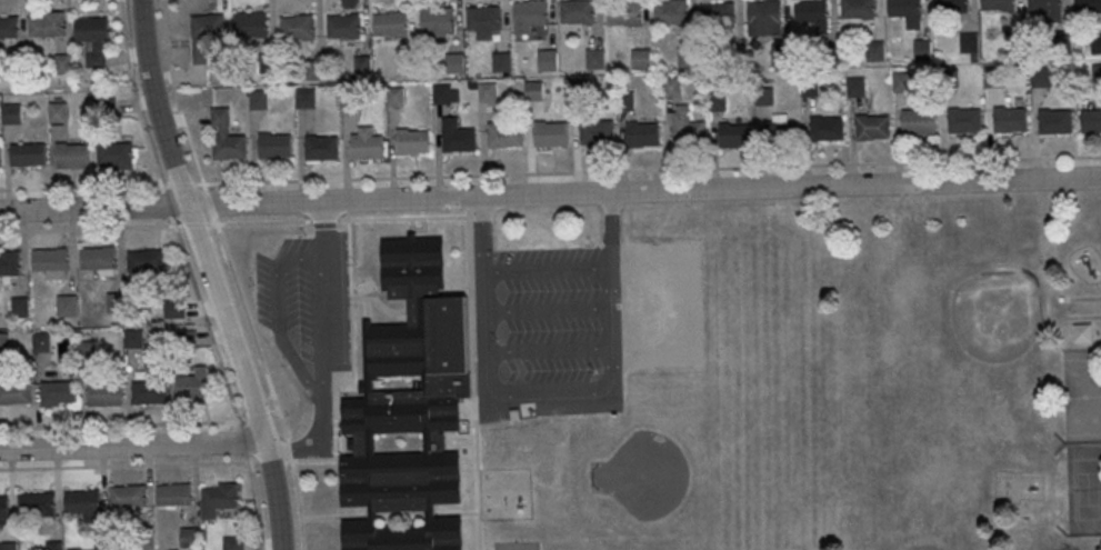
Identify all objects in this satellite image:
building: (997, 4)
building: (1088, 6)
building: (952, 7)
building: (1045, 7)
building: (905, 8)
building: (858, 9)
building: (812, 11)
building: (578, 12)
building: (672, 13)
building: (764, 13)
building: (624, 14)
building: (529, 16)
building: (719, 16)
building: (484, 22)
building: (438, 23)
building: (251, 26)
building: (391, 26)
building: (46, 28)
building: (344, 28)
building: (9, 29)
building: (298, 29)
building: (92, 30)
building: (206, 36)
building: (1062, 42)
building: (1015, 43)
building: (969, 44)
building: (1097, 44)
building: (922, 51)
building: (829, 53)
building: (875, 53)
building: (782, 56)
building: (737, 57)
building: (688, 58)
building: (597, 60)
building: (641, 60)
building: (548, 62)
building: (502, 63)
building: (269, 64)
building: (411, 64)
building: (456, 64)
building: (362, 67)
building: (314, 71)
building: (1097, 76)
building: (1043, 79)
building: (949, 80)
building: (995, 80)
building: (902, 83)
building: (857, 88)
building: (672, 89)
building: (811, 89)
building: (580, 91)
building: (534, 92)
road: (133, 93)
building: (488, 93)
building: (442, 96)
building: (764, 97)
building: (351, 98)
building: (304, 99)
building: (396, 99)
building: (259, 101)
building: (627, 102)
building: (718, 102)
building: (57, 112)
building: (12, 113)
building: (1011, 121)
building: (965, 122)
building: (1090, 123)
building: (918, 124)
building: (1055, 124)
building: (688, 129)
building: (873, 129)
building: (827, 130)
building: (597, 133)
building: (504, 136)
building: (550, 136)
building: (643, 136)
building: (734, 137)
building: (780, 137)
building: (459, 140)
building: (413, 143)
building: (274, 148)
building: (367, 148)
building: (229, 149)
building: (321, 149)
building: (28, 153)
building: (114, 154)
building: (71, 156)
building: (0, 158)
road: (558, 172)
road: (550, 194)
road: (211, 210)
building: (99, 258)
building: (146, 260)
building: (50, 261)
building: (9, 262)
road: (547, 269)
road: (212, 273)
building: (114, 301)
building: (66, 303)
building: (19, 306)
building: (174, 309)
road: (549, 310)
road: (280, 314)
building: (1082, 332)
building: (133, 337)
park: (975, 340)
building: (40, 341)
building: (1, 344)
building: (86, 349)
road: (551, 350)
road: (326, 356)
park: (947, 376)
building: (191, 386)
building: (57, 391)
building: (148, 391)
building: (13, 392)
building: (103, 392)
park: (1082, 397)
road: (551, 399)
building: (409, 407)
road: (236, 414)
road: (131, 446)
road: (246, 447)
park: (679, 473)
road: (294, 478)
park: (1083, 489)
building: (172, 493)
building: (127, 497)
building: (218, 498)
building: (34, 502)
building: (82, 503)
building: (2, 506)
building: (189, 536)
building: (147, 542)
building: (232, 542)
building: (99, 543)
building: (8, 547)
building: (53, 547)

